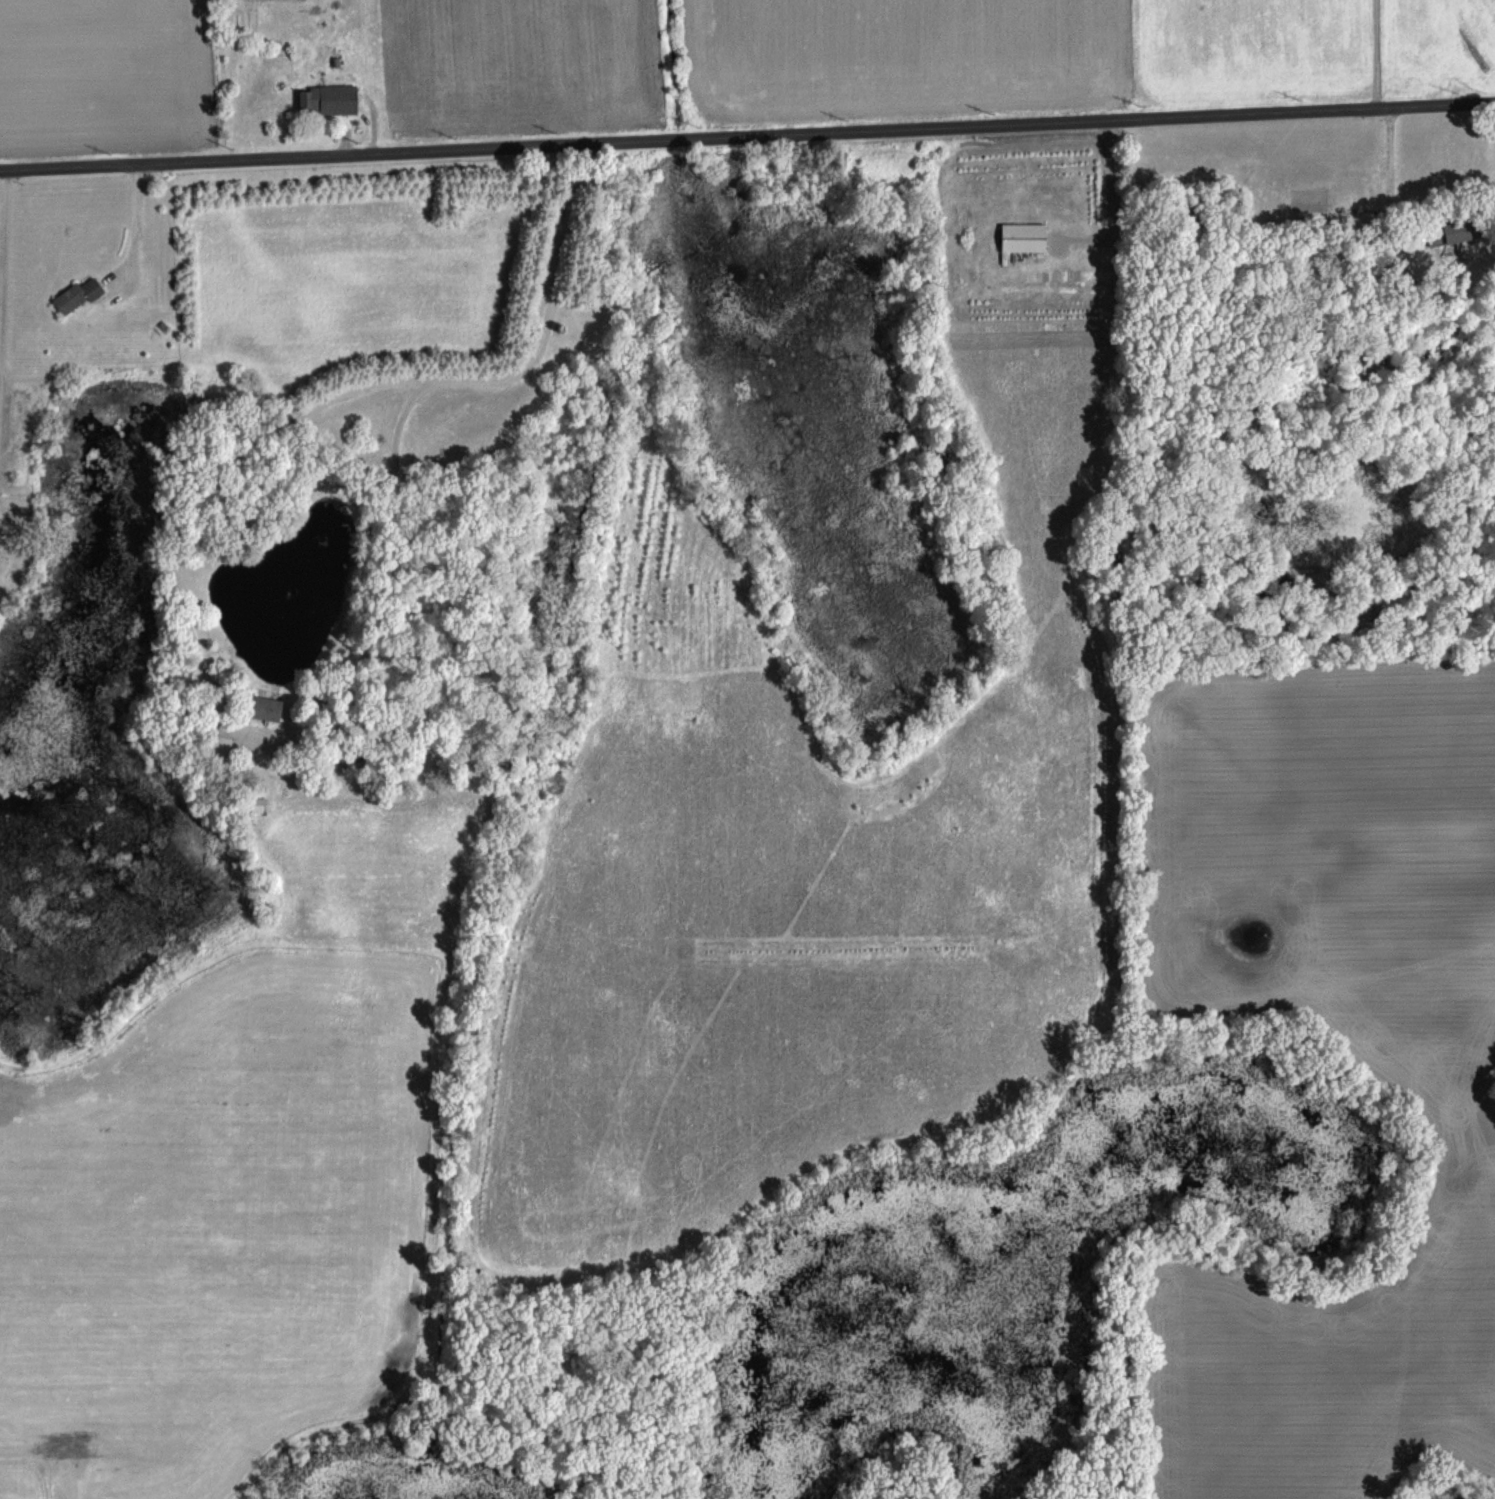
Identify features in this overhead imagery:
building: (313, 98)
road: (747, 139)
building: (1449, 233)
building: (76, 296)
building: (265, 709)
building: (258, 805)

